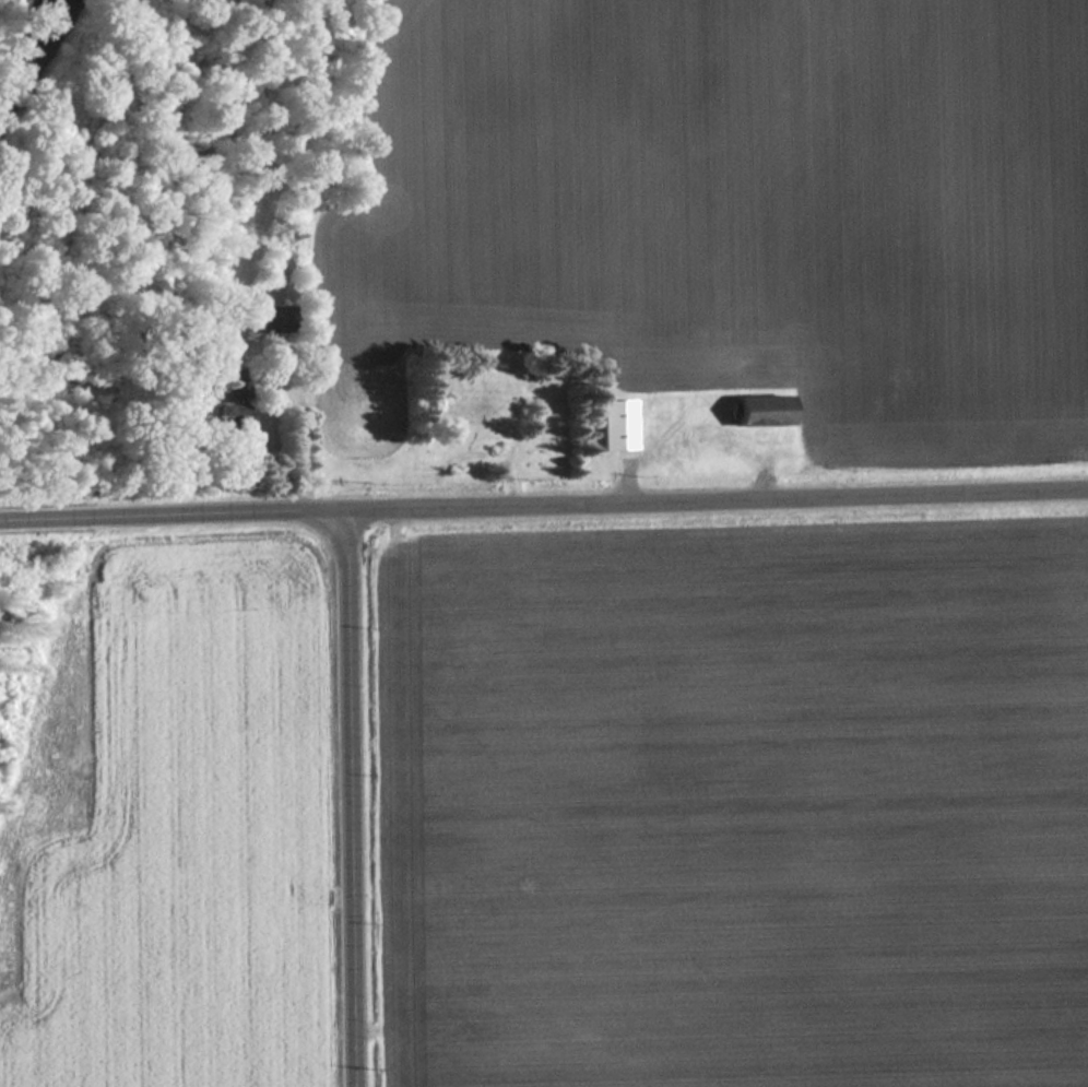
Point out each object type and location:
river: (45, 73)
building: (277, 320)
building: (238, 385)
building: (768, 412)
building: (620, 426)
road: (718, 498)
road: (174, 515)
road: (352, 799)

